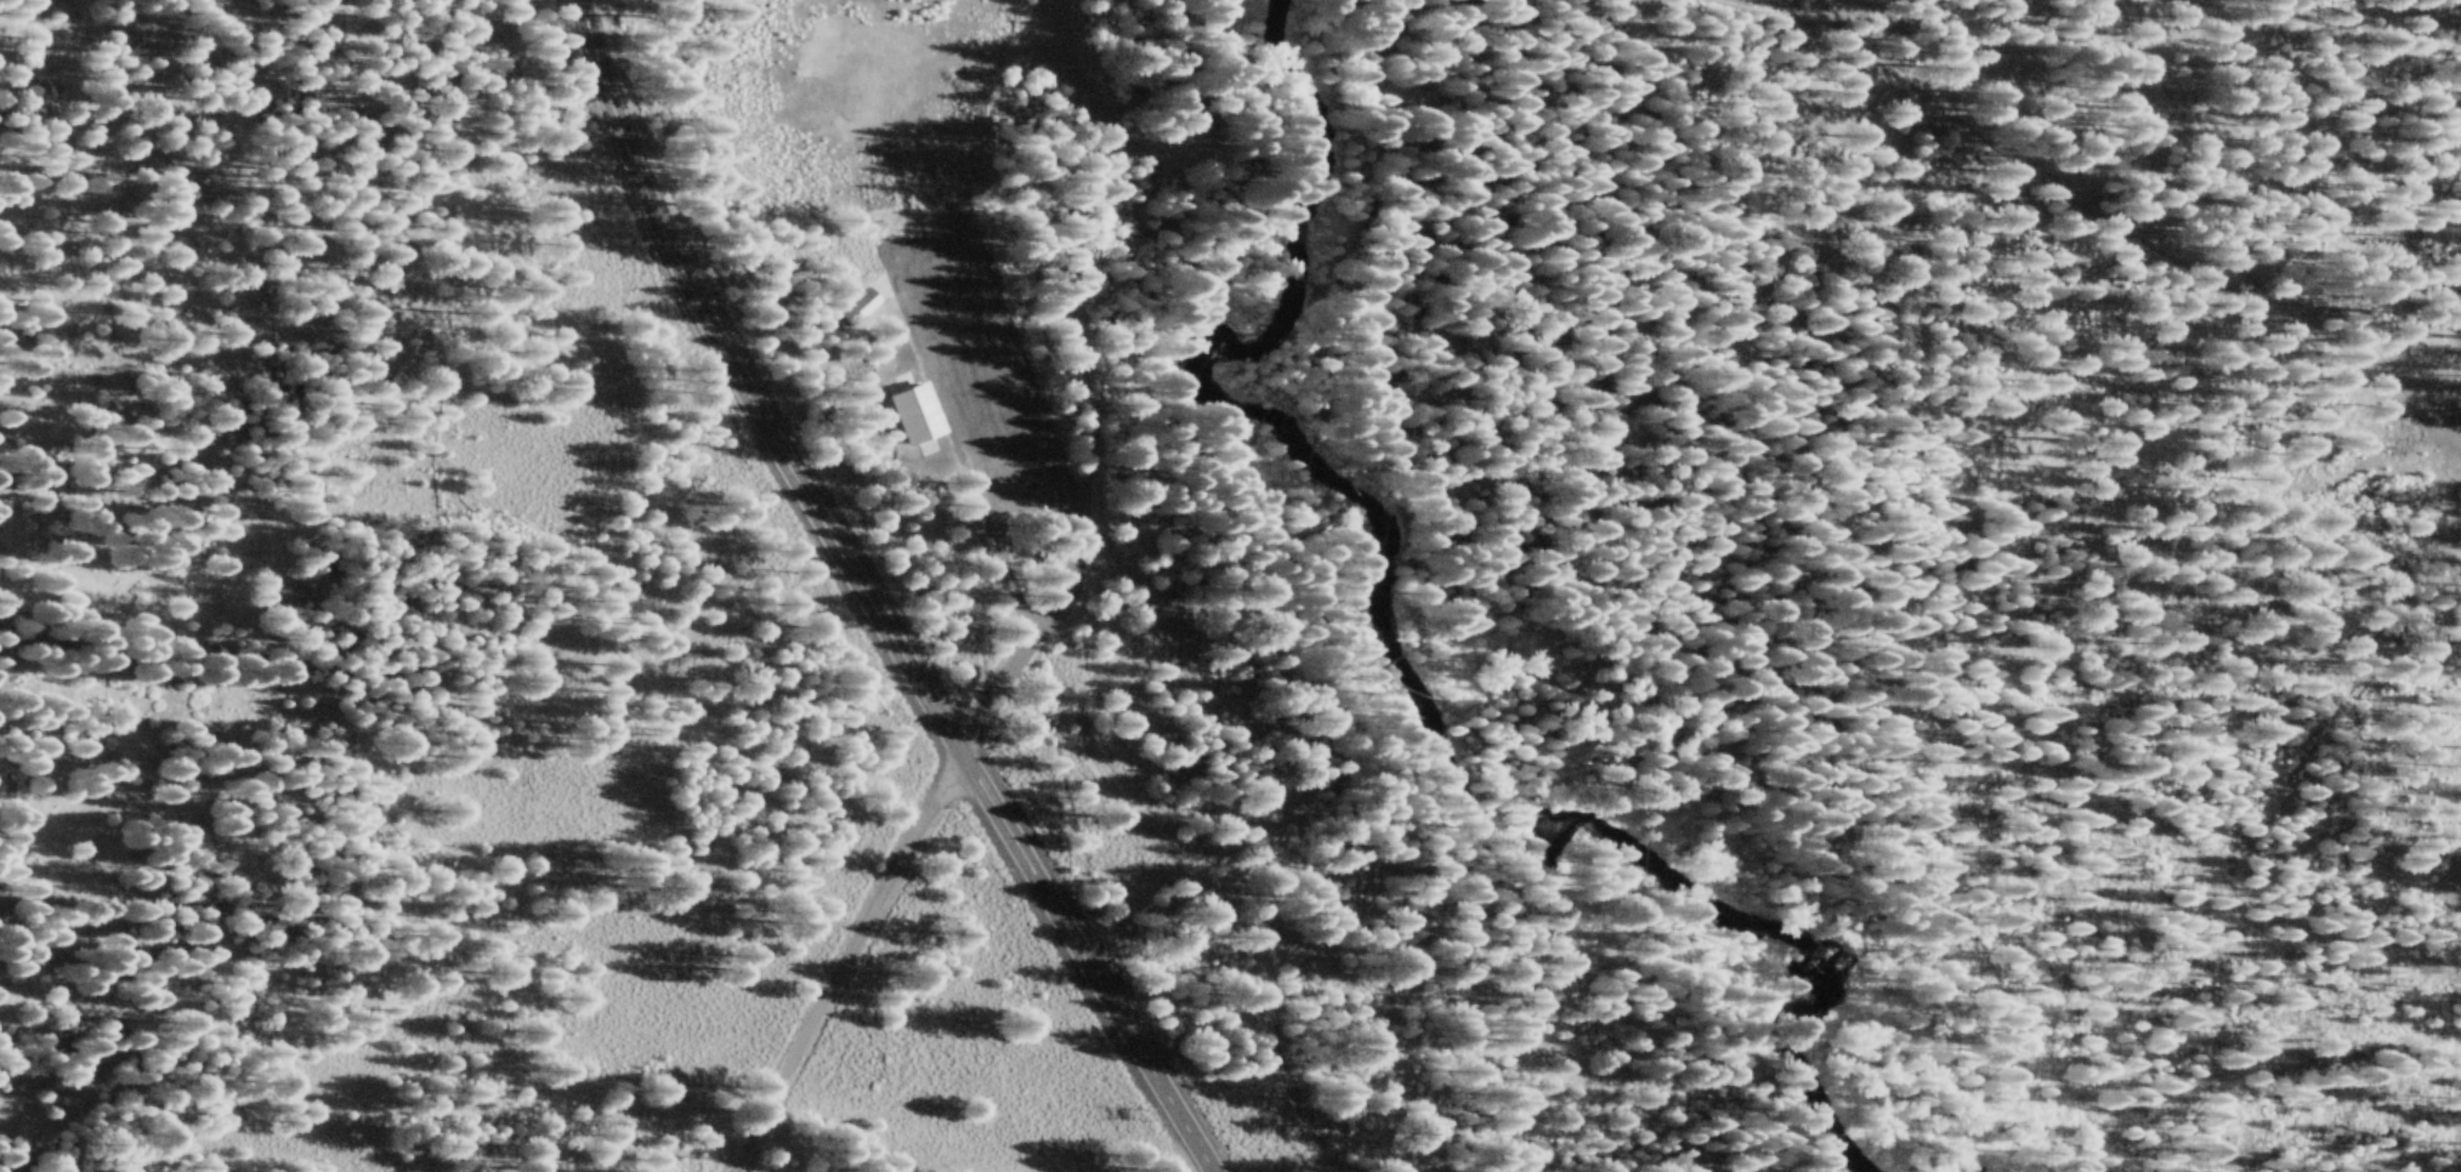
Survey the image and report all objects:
road: (2309, 74)
quarry: (862, 99)
parking lot: (980, 380)
road: (1221, 409)
building: (909, 415)
road: (957, 443)
road: (861, 601)
road: (841, 966)

